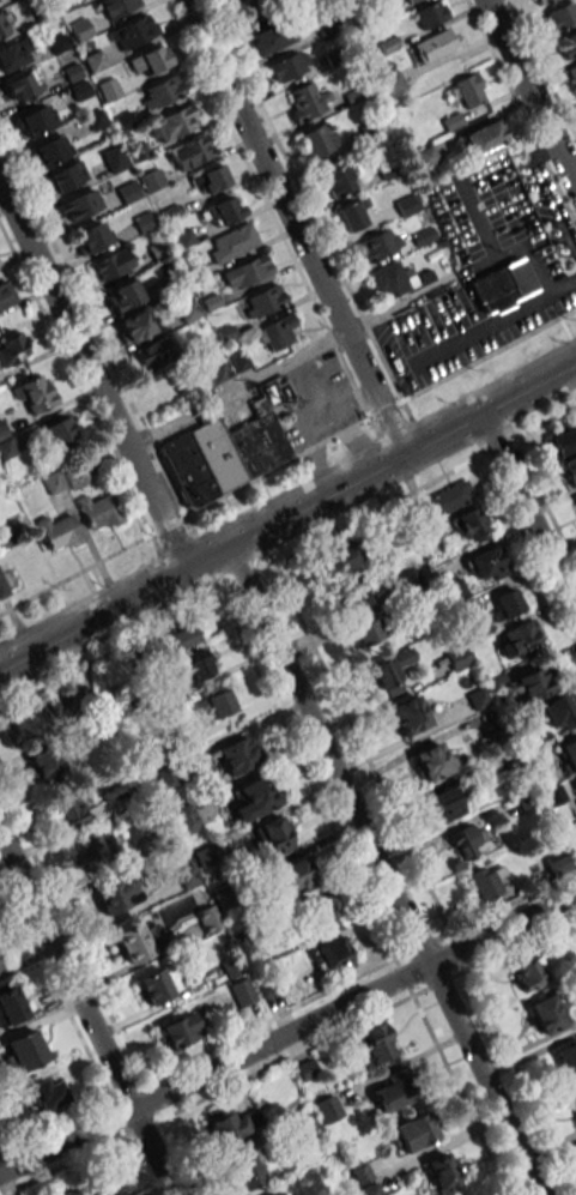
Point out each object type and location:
building: (410, 0)
building: (540, 1)
building: (117, 6)
building: (257, 8)
building: (431, 13)
building: (560, 16)
building: (2, 25)
building: (80, 29)
building: (133, 31)
building: (272, 37)
building: (435, 44)
building: (568, 46)
building: (14, 54)
building: (150, 60)
building: (95, 61)
building: (287, 66)
building: (77, 82)
building: (390, 84)
building: (23, 85)
building: (469, 90)
building: (160, 92)
road: (530, 93)
building: (305, 101)
building: (36, 121)
building: (174, 122)
building: (484, 137)
building: (319, 139)
building: (50, 151)
building: (190, 151)
building: (425, 156)
building: (114, 158)
building: (63, 177)
building: (336, 177)
building: (210, 179)
building: (152, 180)
building: (80, 204)
building: (407, 205)
building: (224, 210)
building: (350, 215)
road: (293, 225)
building: (91, 236)
building: (231, 242)
building: (377, 245)
building: (111, 264)
building: (247, 271)
building: (388, 280)
building: (501, 285)
building: (5, 294)
building: (125, 296)
building: (263, 300)
road: (493, 322)
building: (135, 325)
building: (275, 332)
building: (12, 349)
building: (156, 352)
road: (287, 360)
road: (92, 376)
building: (36, 394)
building: (57, 431)
building: (563, 441)
building: (7, 448)
building: (223, 454)
road: (287, 460)
building: (570, 470)
building: (75, 478)
building: (444, 500)
building: (98, 512)
road: (527, 512)
road: (287, 513)
building: (471, 523)
building: (59, 532)
building: (347, 555)
building: (485, 563)
building: (2, 587)
building: (352, 597)
building: (507, 603)
building: (366, 632)
building: (520, 636)
building: (177, 639)
building: (459, 658)
building: (195, 664)
building: (387, 675)
building: (533, 683)
building: (477, 699)
building: (219, 702)
building: (556, 712)
building: (408, 714)
building: (28, 724)
building: (238, 754)
building: (568, 754)
building: (432, 761)
building: (46, 766)
building: (574, 786)
building: (255, 797)
building: (447, 803)
building: (68, 810)
building: (274, 835)
building: (466, 840)
building: (87, 851)
building: (556, 862)
road: (383, 870)
building: (293, 875)
building: (483, 882)
building: (116, 894)
building: (316, 918)
building: (207, 919)
building: (137, 941)
building: (332, 954)
building: (0, 965)
building: (530, 973)
building: (157, 984)
building: (241, 992)
building: (11, 1006)
building: (547, 1013)
road: (85, 1016)
building: (178, 1031)
road: (287, 1032)
building: (376, 1043)
building: (24, 1050)
building: (566, 1060)
building: (47, 1094)
building: (389, 1094)
building: (574, 1097)
building: (327, 1109)
building: (303, 1123)
building: (232, 1124)
building: (412, 1133)
building: (247, 1170)
building: (442, 1173)
building: (92, 1189)
building: (275, 1193)

